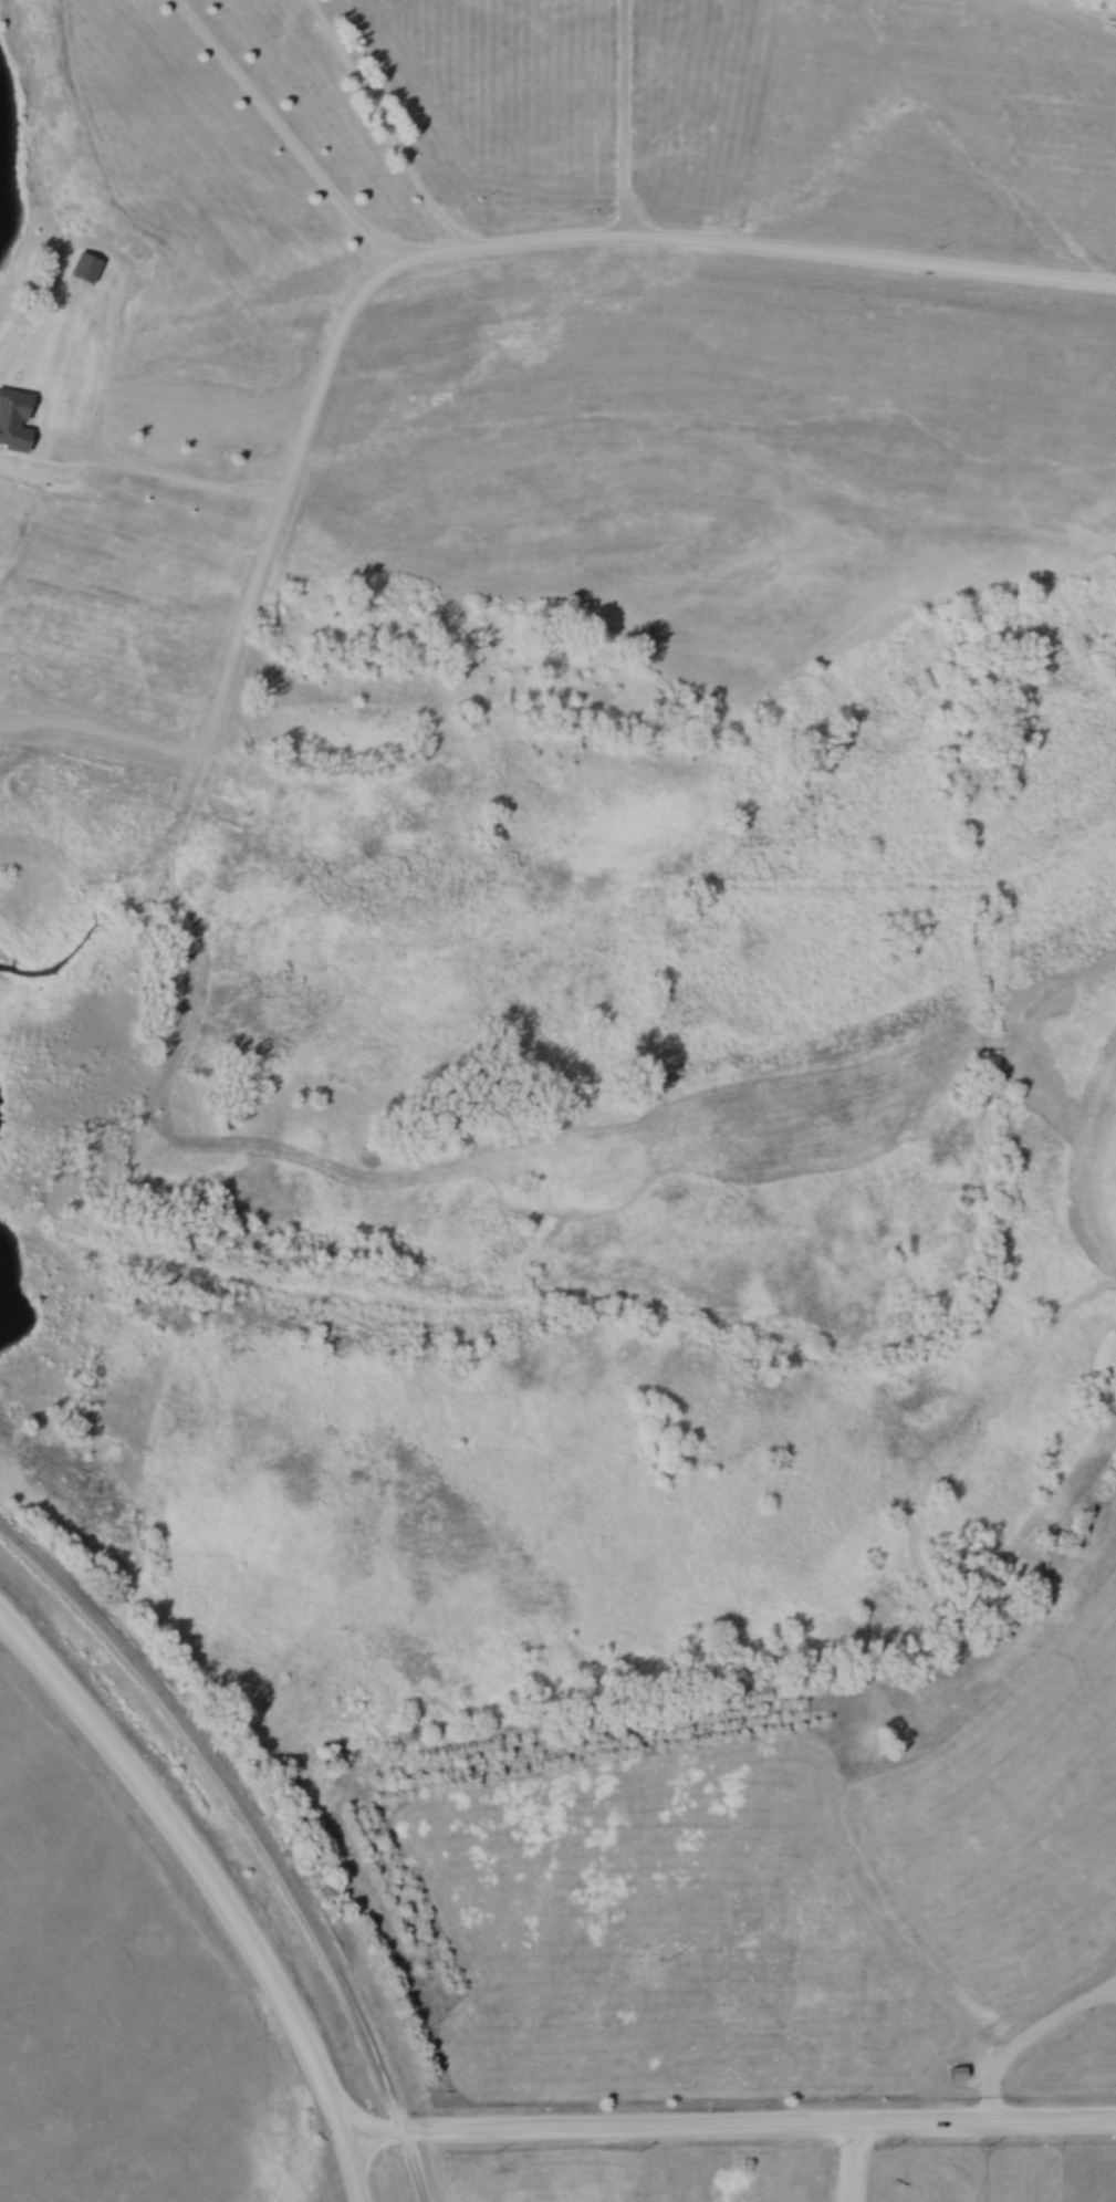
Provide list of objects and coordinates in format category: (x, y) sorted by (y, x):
road: (387, 133)
road: (588, 236)
railway: (260, 1833)
road: (1029, 2045)
building: (956, 2074)
road: (421, 2131)
road: (845, 2167)
road: (347, 2171)

